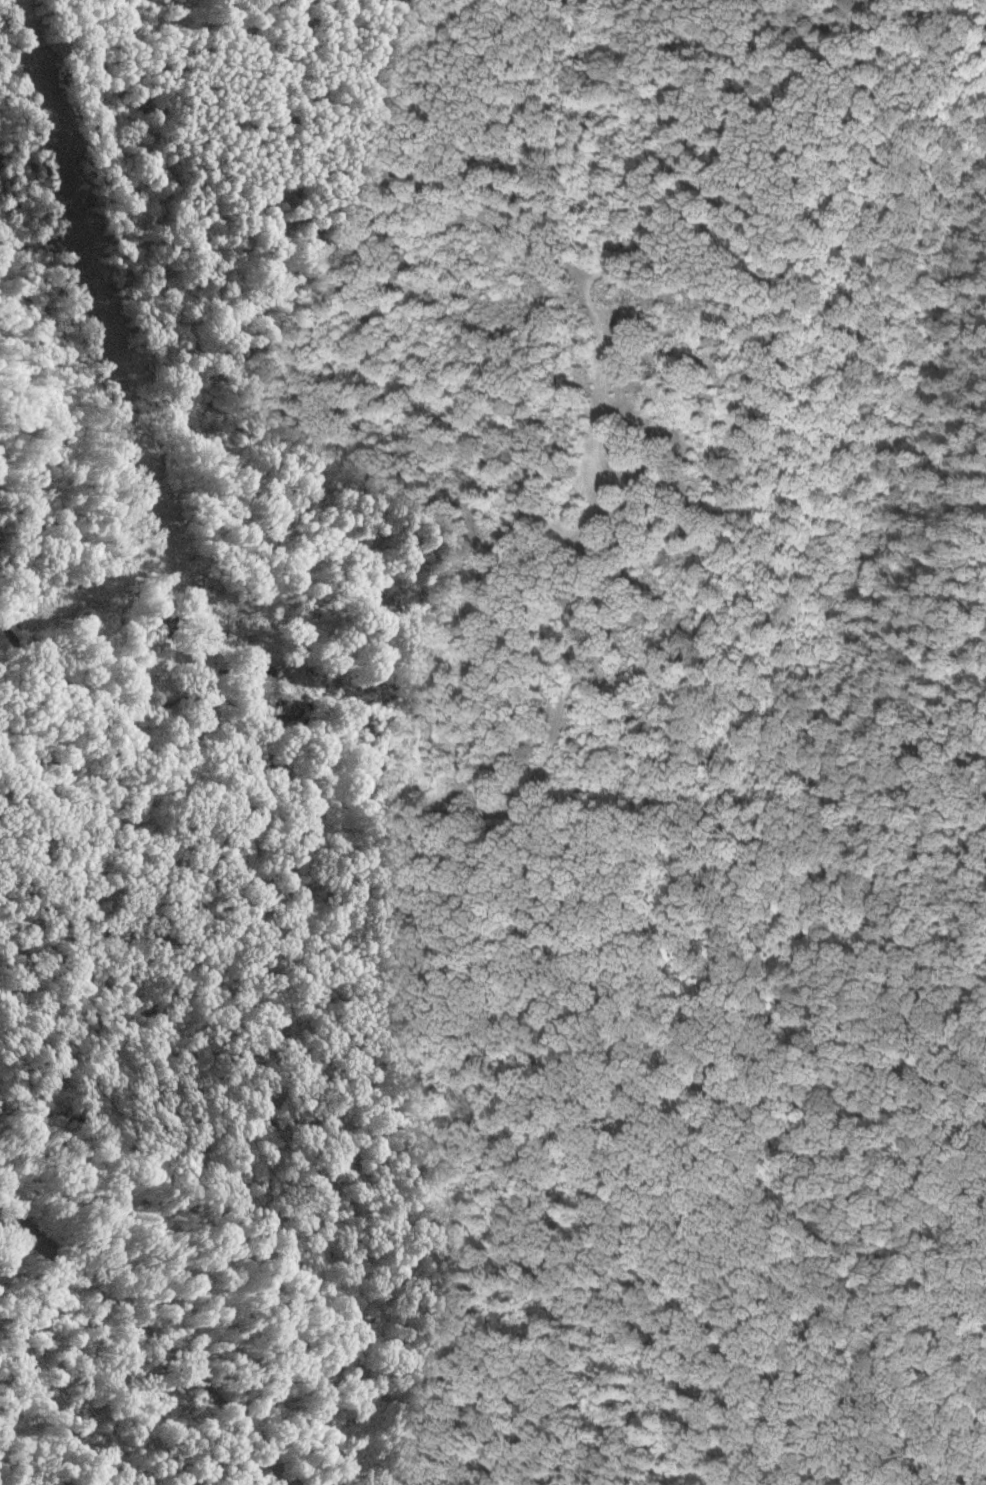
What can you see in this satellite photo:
road: (55, 671)
building: (258, 695)
road: (158, 1339)

